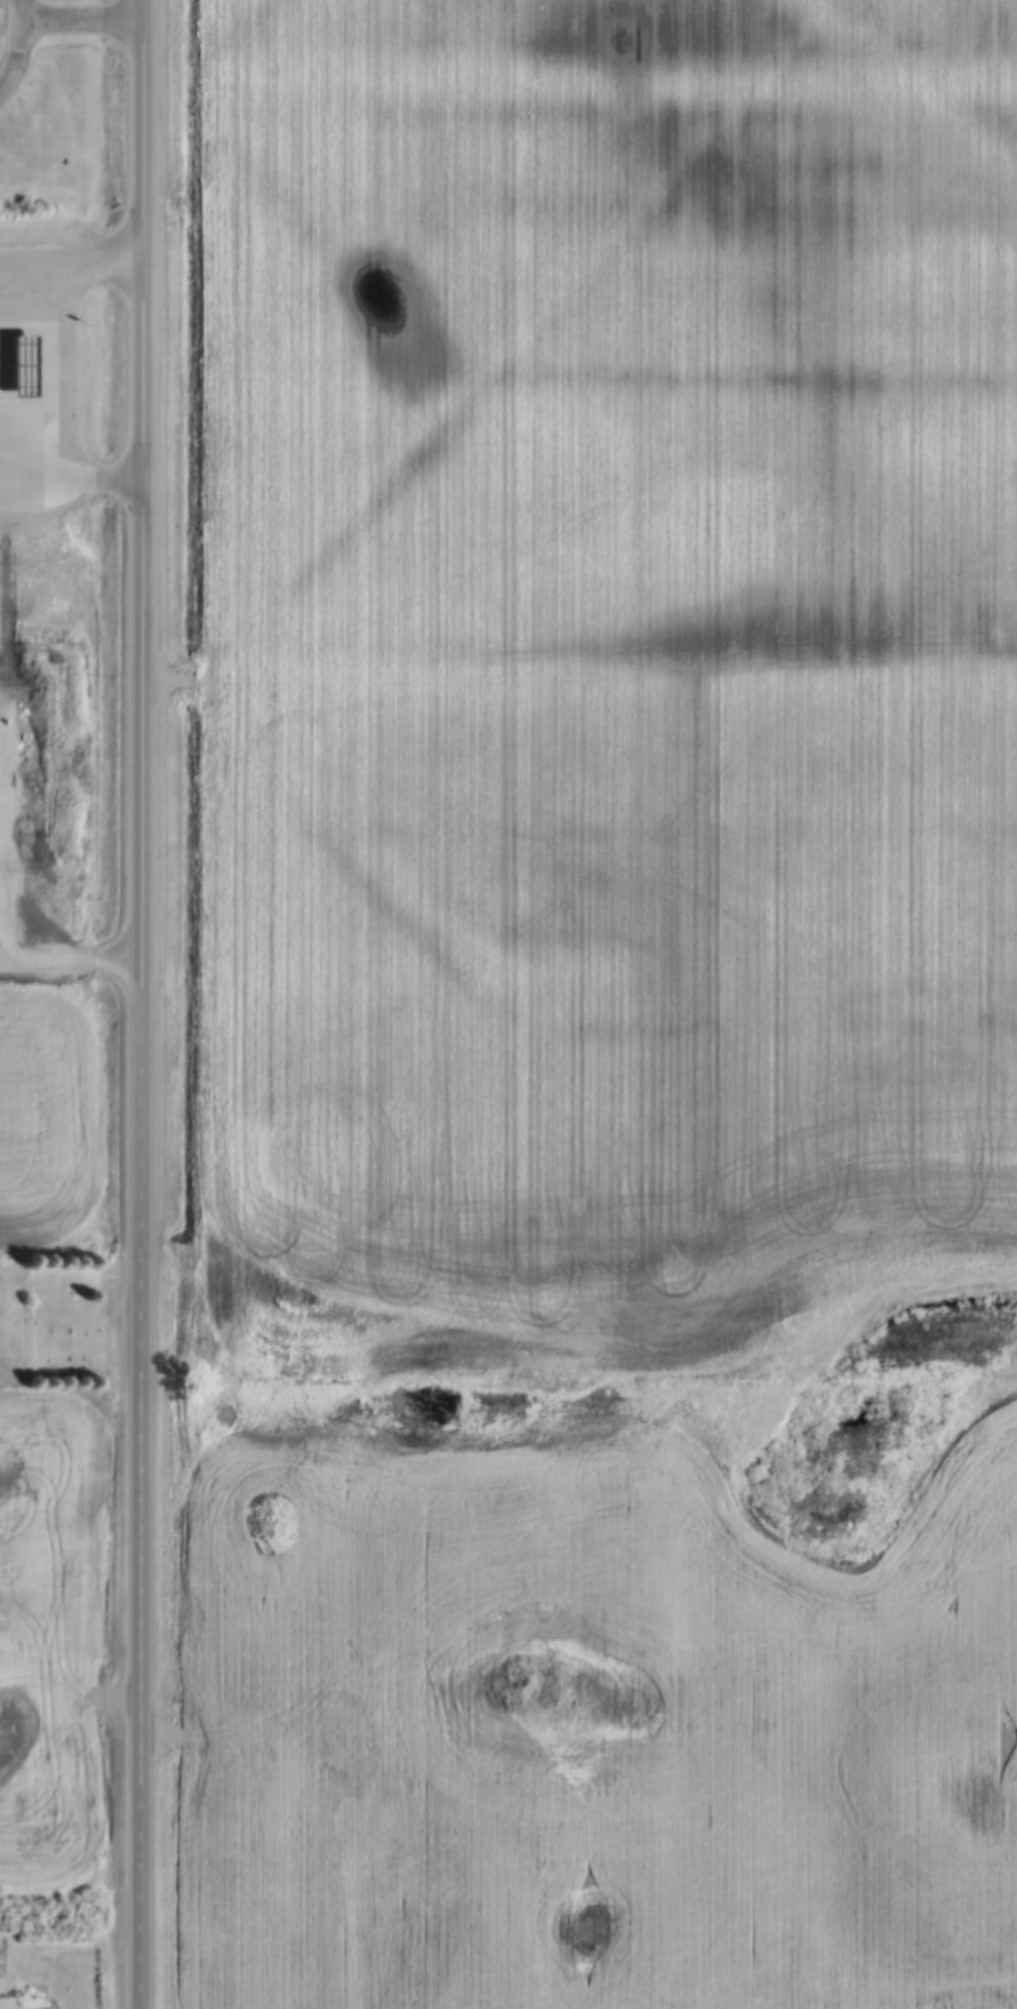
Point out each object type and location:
road: (15, 4)
road: (78, 8)
road: (13, 42)
road: (139, 234)
road: (66, 258)
building: (15, 352)
road: (69, 470)
road: (139, 1239)

